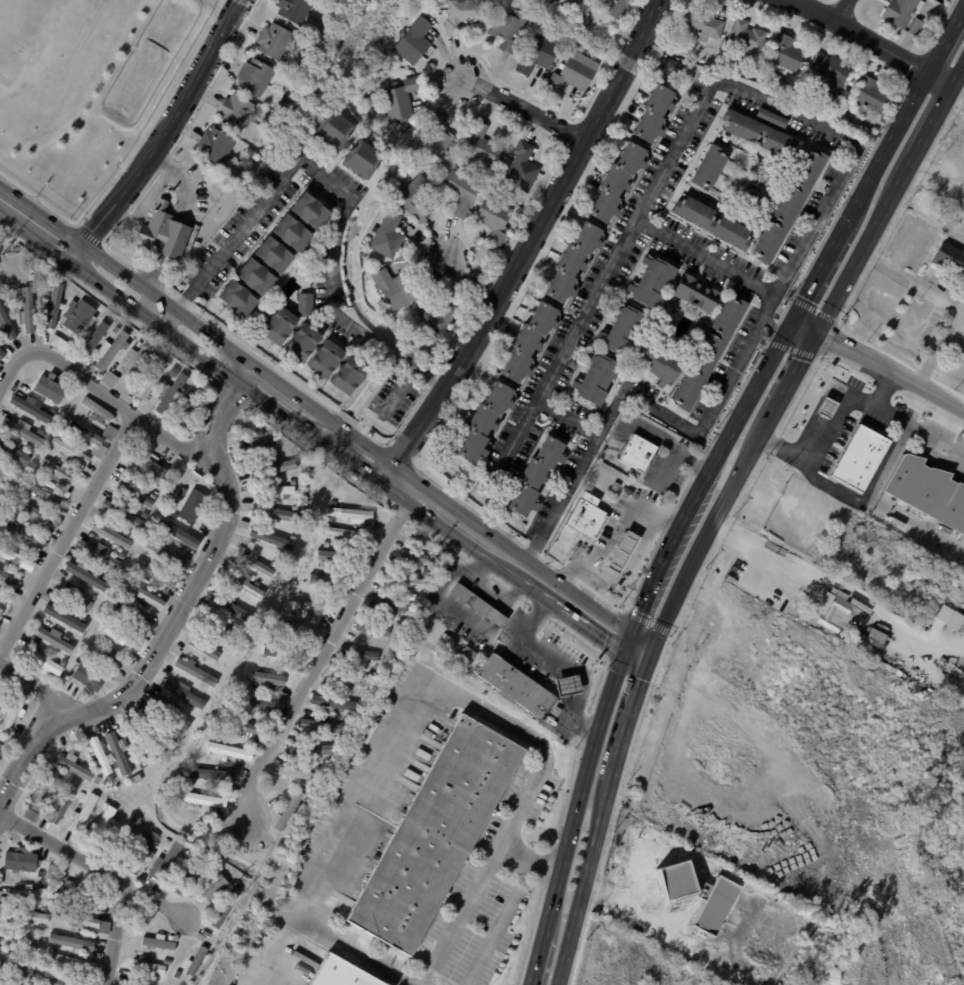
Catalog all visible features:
building: (570, 0)
building: (616, 7)
building: (294, 9)
building: (330, 10)
road: (842, 11)
building: (902, 11)
building: (462, 14)
building: (621, 23)
building: (702, 24)
building: (917, 27)
building: (508, 28)
building: (747, 36)
building: (669, 40)
building: (274, 41)
building: (413, 41)
road: (872, 41)
park: (47, 45)
building: (538, 54)
building: (785, 54)
building: (560, 66)
building: (674, 67)
building: (386, 68)
building: (831, 71)
building: (572, 75)
building: (255, 78)
building: (376, 80)
road: (959, 84)
building: (268, 93)
building: (870, 96)
building: (400, 100)
road: (523, 109)
building: (235, 112)
building: (654, 113)
road: (904, 115)
building: (772, 118)
building: (882, 120)
building: (333, 130)
road: (163, 134)
building: (761, 135)
building: (433, 137)
building: (296, 145)
building: (214, 146)
building: (482, 146)
road: (850, 154)
building: (361, 160)
building: (522, 168)
building: (709, 169)
building: (118, 173)
building: (617, 182)
building: (461, 192)
road: (346, 193)
building: (415, 198)
road: (891, 198)
building: (788, 206)
building: (309, 209)
building: (958, 209)
building: (493, 219)
building: (713, 224)
building: (193, 227)
building: (292, 232)
building: (162, 234)
road: (12, 235)
building: (387, 236)
road: (2, 240)
park: (2, 241)
building: (196, 244)
road: (527, 244)
building: (273, 253)
road: (706, 257)
road: (896, 259)
building: (950, 260)
building: (572, 262)
road: (818, 271)
building: (255, 276)
road: (470, 280)
building: (29, 281)
building: (651, 284)
road: (924, 286)
building: (393, 290)
building: (238, 297)
building: (697, 297)
building: (304, 302)
building: (54, 305)
building: (28, 310)
road: (168, 315)
building: (78, 316)
traffic signals: (793, 318)
building: (436, 320)
building: (393, 321)
building: (6, 323)
building: (277, 324)
building: (116, 329)
building: (623, 331)
traffic signals: (818, 332)
road: (783, 335)
building: (95, 336)
building: (301, 341)
building: (528, 342)
building: (139, 343)
building: (112, 349)
building: (1, 354)
building: (708, 355)
building: (324, 358)
building: (133, 361)
building: (658, 364)
road: (878, 365)
road: (244, 368)
road: (796, 368)
building: (174, 371)
building: (348, 375)
building: (110, 378)
building: (152, 378)
building: (596, 380)
building: (51, 388)
building: (194, 388)
road: (397, 391)
road: (104, 393)
building: (171, 394)
road: (317, 406)
building: (30, 408)
building: (828, 409)
building: (96, 410)
building: (189, 412)
road: (568, 418)
building: (484, 422)
road: (921, 426)
road: (313, 429)
building: (21, 431)
road: (832, 431)
building: (83, 432)
building: (109, 432)
building: (259, 433)
building: (258, 447)
building: (51, 448)
building: (14, 451)
building: (70, 451)
building: (127, 455)
building: (640, 456)
building: (276, 458)
building: (861, 460)
building: (274, 467)
building: (151, 470)
road: (707, 473)
building: (57, 475)
building: (8, 476)
building: (536, 477)
building: (6, 491)
building: (183, 492)
building: (272, 492)
building: (928, 492)
building: (45, 493)
building: (136, 493)
building: (153, 494)
building: (0, 497)
building: (26, 497)
building: (193, 506)
building: (123, 513)
building: (273, 513)
building: (349, 514)
building: (143, 515)
building: (37, 516)
building: (586, 517)
road: (708, 528)
road: (614, 531)
building: (126, 532)
building: (111, 534)
building: (179, 534)
building: (344, 534)
building: (4, 535)
road: (67, 535)
building: (163, 535)
building: (25, 536)
building: (272, 539)
road: (616, 541)
road: (609, 542)
building: (327, 543)
road: (626, 543)
road: (612, 549)
building: (622, 550)
road: (632, 551)
building: (166, 553)
building: (100, 554)
building: (121, 555)
building: (413, 556)
building: (340, 557)
road: (634, 557)
road: (619, 558)
road: (629, 558)
road: (757, 558)
building: (16, 559)
road: (204, 563)
building: (257, 563)
road: (632, 564)
building: (426, 570)
building: (86, 574)
building: (154, 574)
building: (107, 577)
building: (8, 579)
building: (404, 580)
building: (327, 581)
building: (247, 585)
building: (144, 594)
building: (413, 596)
building: (93, 597)
building: (78, 598)
building: (391, 604)
building: (4, 605)
building: (479, 605)
building: (308, 606)
building: (230, 607)
building: (837, 611)
building: (942, 612)
building: (63, 617)
building: (134, 617)
building: (953, 620)
building: (0, 621)
building: (0, 623)
building: (216, 626)
building: (287, 627)
building: (372, 629)
traffic signals: (632, 633)
building: (66, 636)
building: (116, 637)
road: (521, 638)
building: (54, 639)
building: (446, 640)
road: (628, 642)
building: (870, 643)
road: (641, 644)
building: (386, 646)
building: (269, 648)
building: (205, 649)
road: (321, 652)
building: (360, 652)
building: (469, 652)
traffic signals: (625, 652)
road: (638, 653)
building: (282, 654)
traffic signals: (651, 655)
building: (106, 657)
building: (41, 659)
building: (63, 662)
building: (195, 670)
building: (216, 672)
building: (371, 674)
building: (352, 677)
building: (88, 678)
building: (268, 678)
building: (255, 683)
building: (0, 684)
building: (567, 685)
building: (516, 686)
road: (445, 687)
road: (40, 690)
building: (185, 694)
building: (334, 703)
building: (253, 704)
building: (12, 713)
building: (170, 713)
road: (629, 717)
building: (321, 725)
building: (240, 727)
building: (154, 728)
building: (559, 732)
building: (16, 734)
building: (169, 735)
building: (565, 737)
building: (138, 744)
road: (28, 745)
building: (2, 749)
building: (147, 750)
building: (308, 750)
building: (229, 751)
building: (119, 753)
building: (99, 754)
building: (74, 766)
building: (296, 772)
building: (214, 775)
building: (134, 779)
building: (97, 780)
building: (104, 783)
building: (41, 795)
building: (82, 795)
building: (203, 800)
building: (61, 804)
building: (290, 810)
building: (85, 813)
road: (573, 817)
building: (104, 820)
building: (145, 834)
building: (434, 834)
building: (126, 836)
building: (168, 843)
building: (145, 853)
building: (188, 854)
road: (528, 860)
building: (21, 861)
building: (165, 862)
road: (93, 864)
building: (188, 875)
road: (583, 882)
building: (240, 885)
building: (212, 887)
building: (31, 892)
building: (77, 894)
building: (714, 904)
building: (43, 907)
building: (226, 907)
building: (32, 914)
road: (641, 918)
building: (84, 922)
road: (115, 930)
building: (130, 931)
building: (39, 936)
building: (200, 936)
road: (490, 936)
building: (21, 941)
building: (72, 942)
building: (160, 942)
road: (350, 948)
building: (56, 949)
building: (197, 960)
building: (167, 961)
building: (72, 962)
building: (51, 965)
building: (15, 966)
building: (148, 966)
building: (337, 972)
building: (56, 973)
building: (177, 974)
building: (57, 981)
building: (3, 983)
building: (135, 984)

